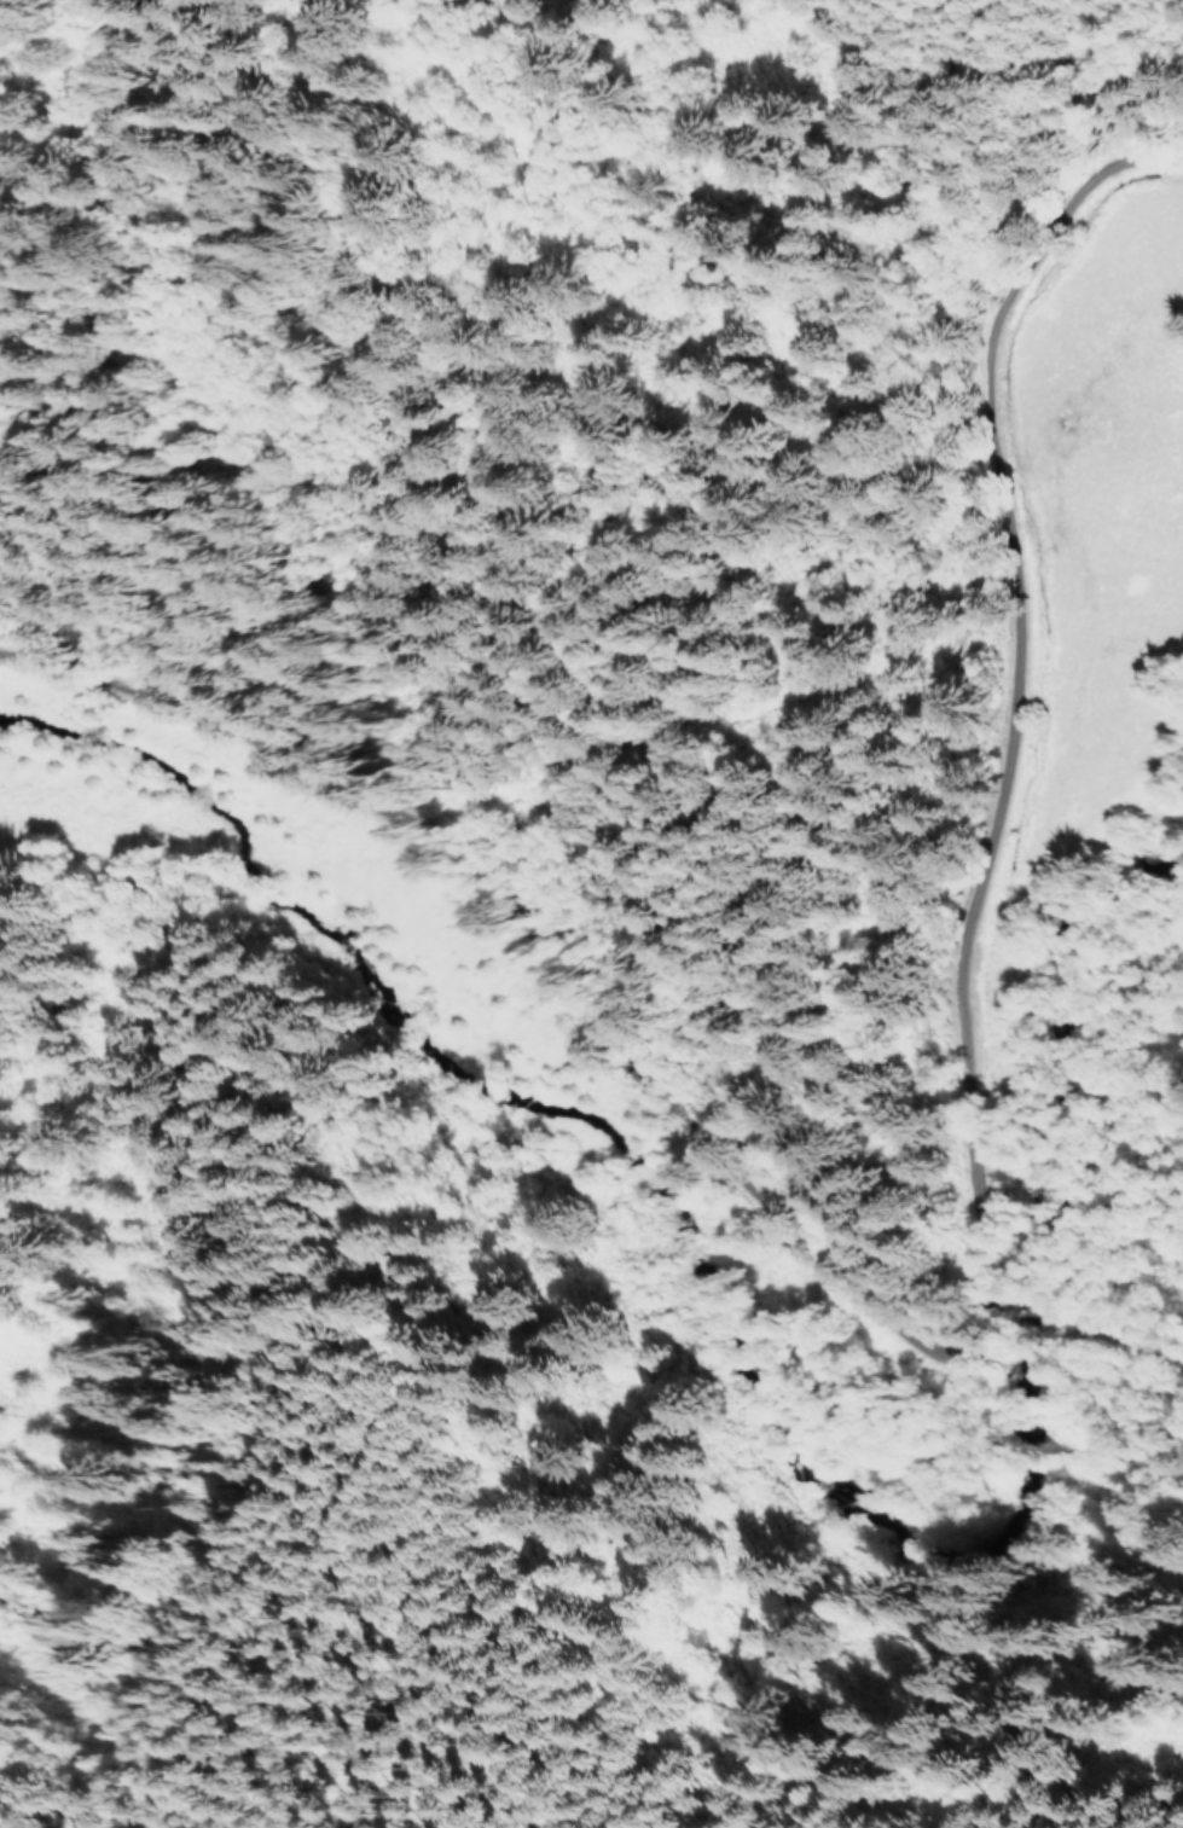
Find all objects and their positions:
road: (955, 1288)

